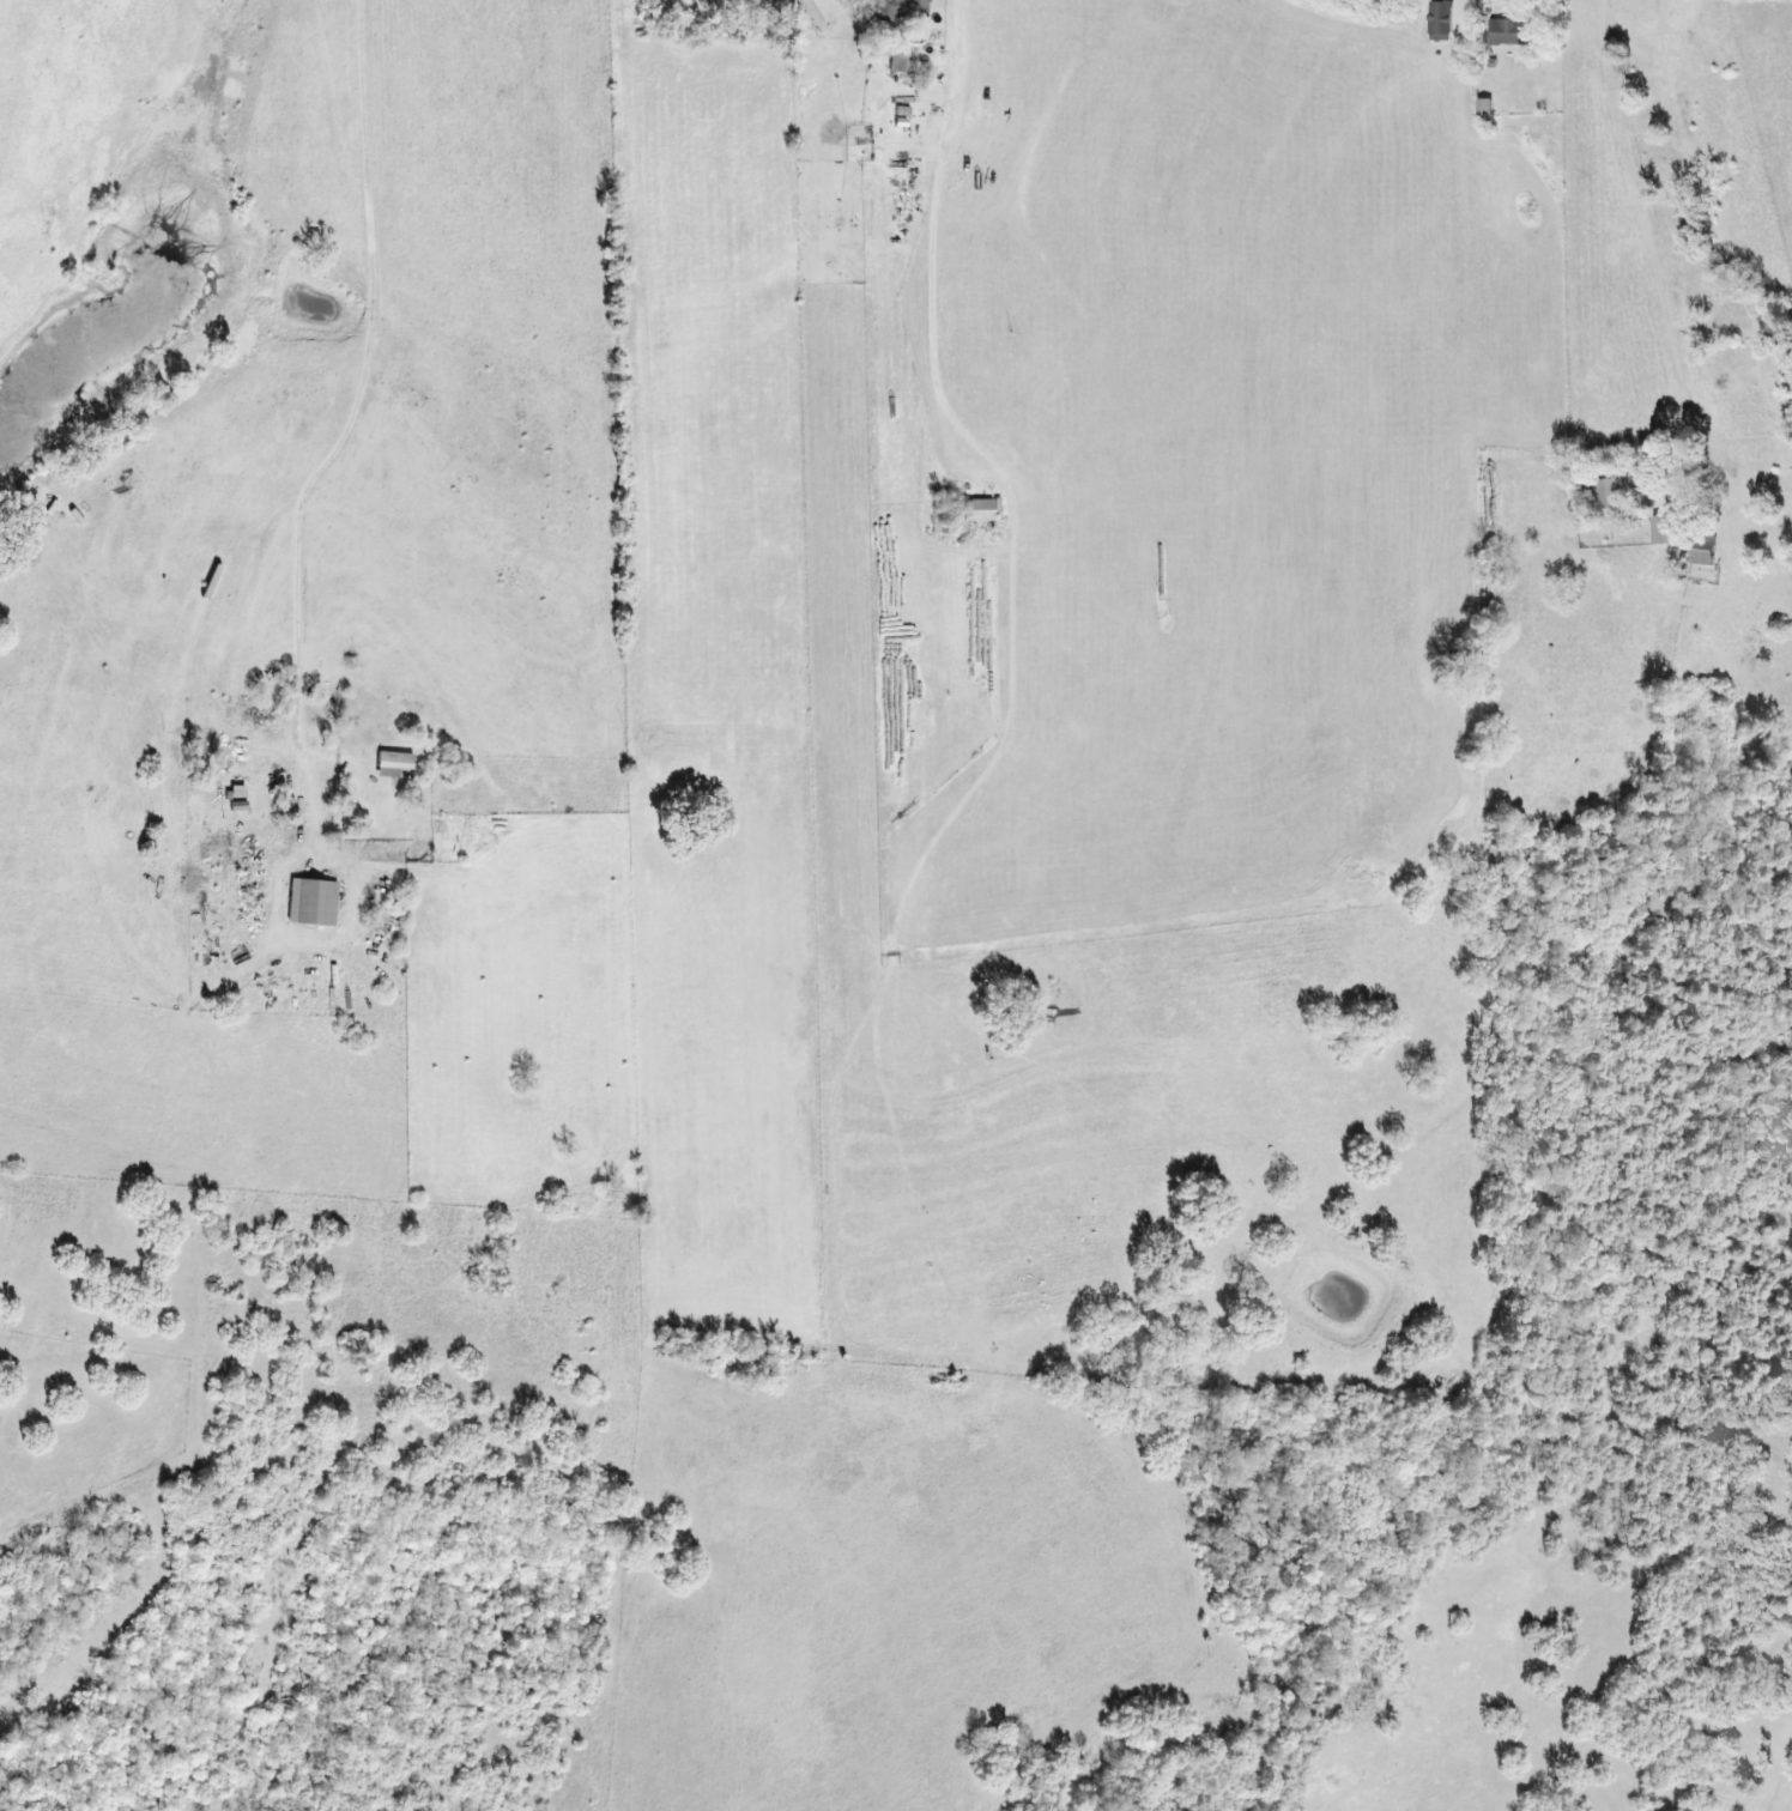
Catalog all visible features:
building: (901, 8)
building: (812, 14)
building: (1442, 19)
building: (1512, 31)
building: (898, 56)
building: (1484, 105)
road: (1634, 232)
road: (281, 481)
building: (1611, 491)
building: (979, 509)
building: (1664, 528)
building: (1702, 553)
building: (394, 764)
building: (237, 791)
building: (238, 805)
building: (311, 902)

